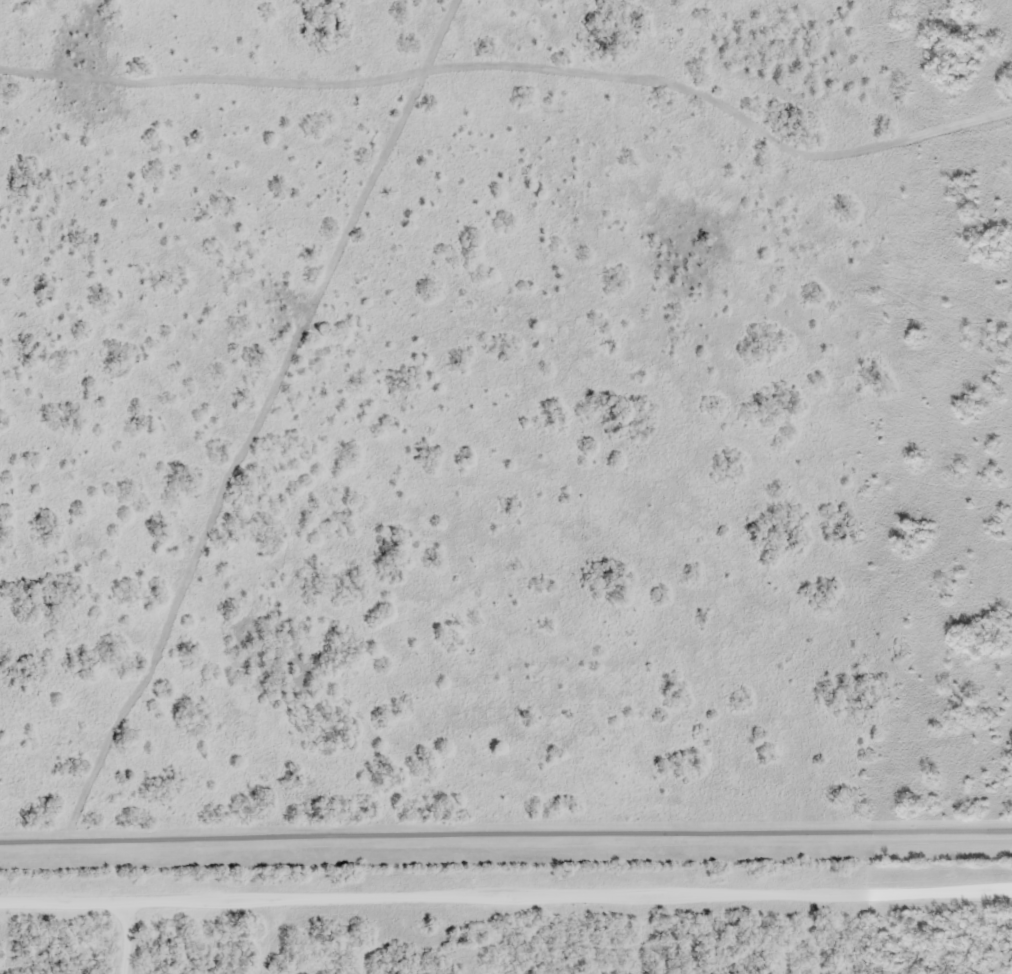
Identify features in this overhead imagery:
road: (506, 851)
road: (506, 897)

